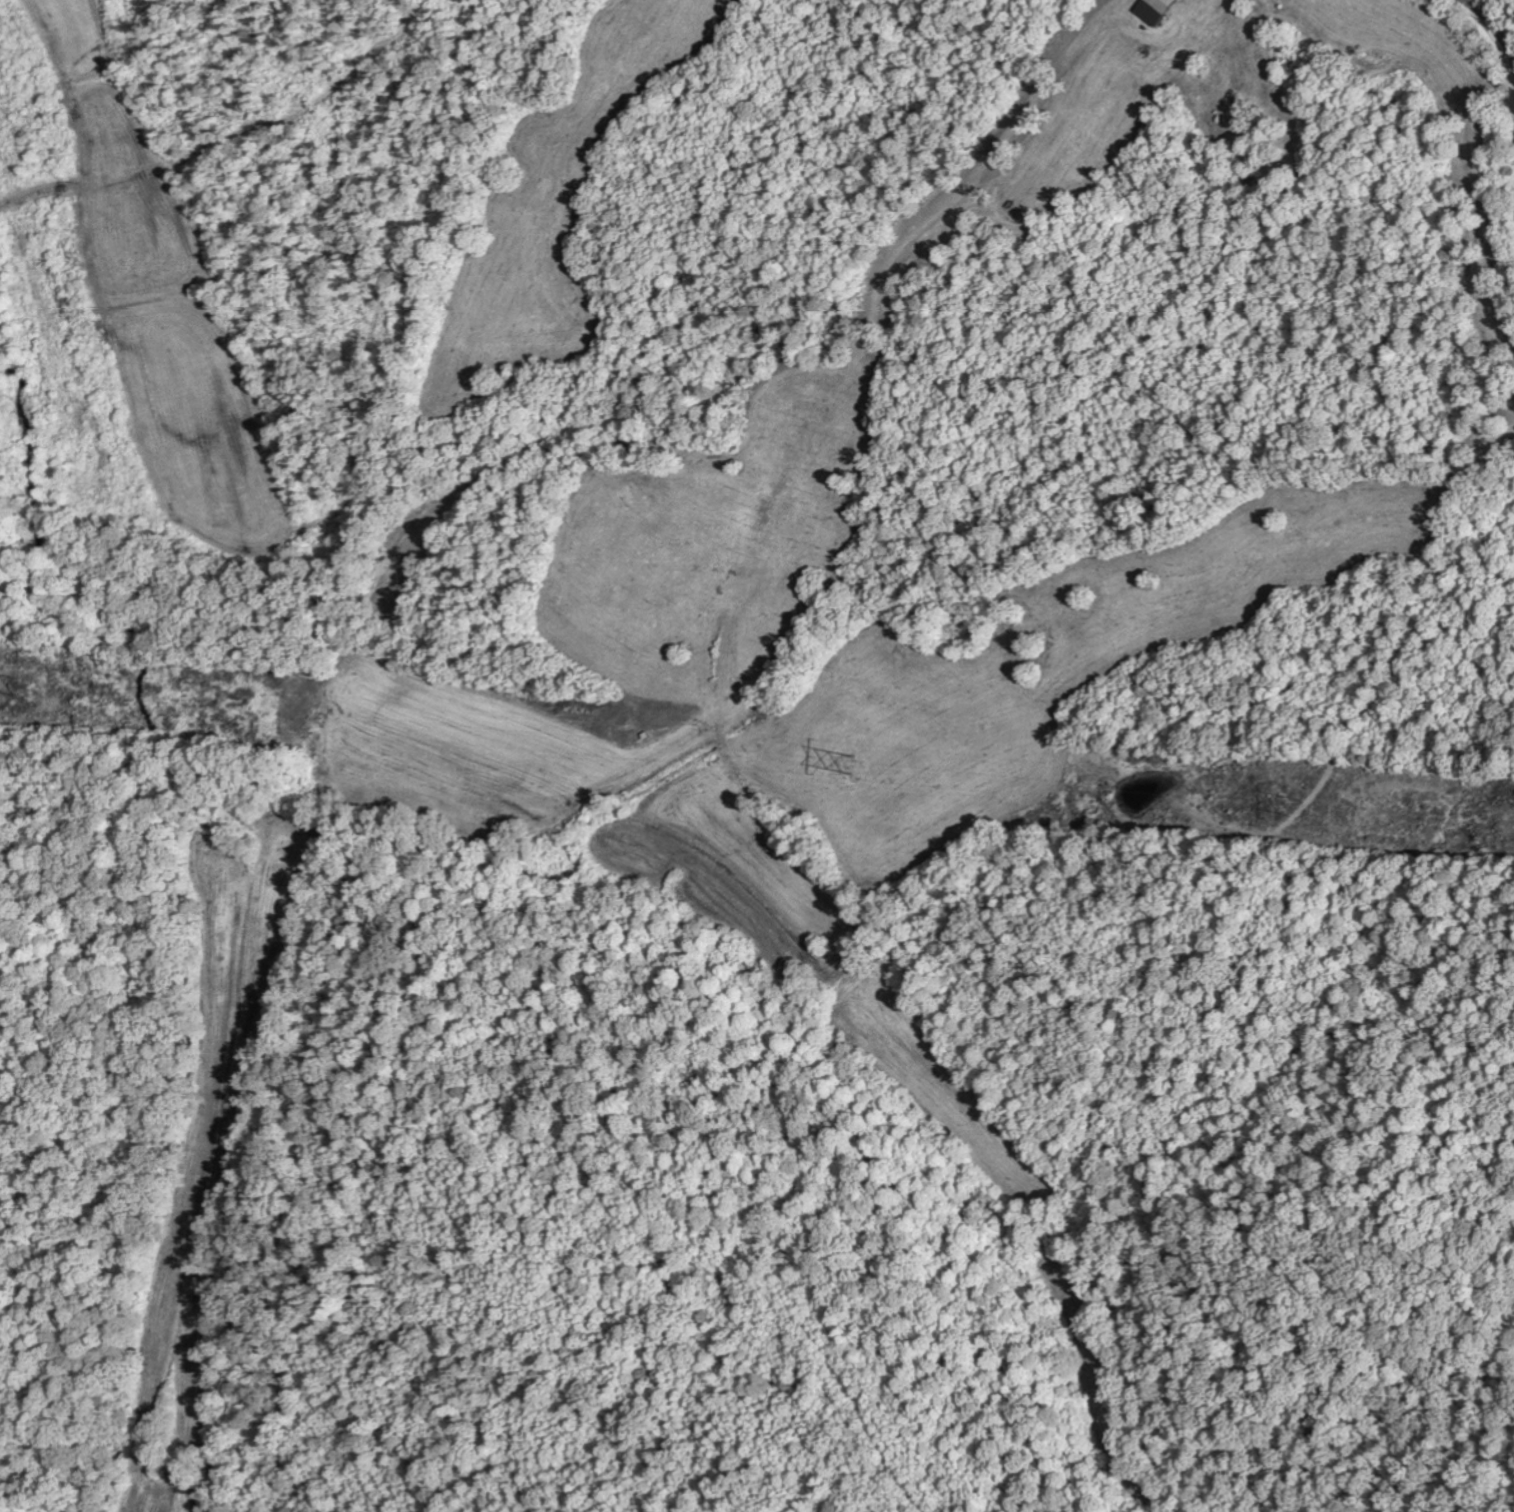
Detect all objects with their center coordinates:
building: (1151, 10)
road: (1494, 23)
power tower: (18, 684)
power tower: (857, 764)
power tower: (1292, 804)
road: (865, 1421)

